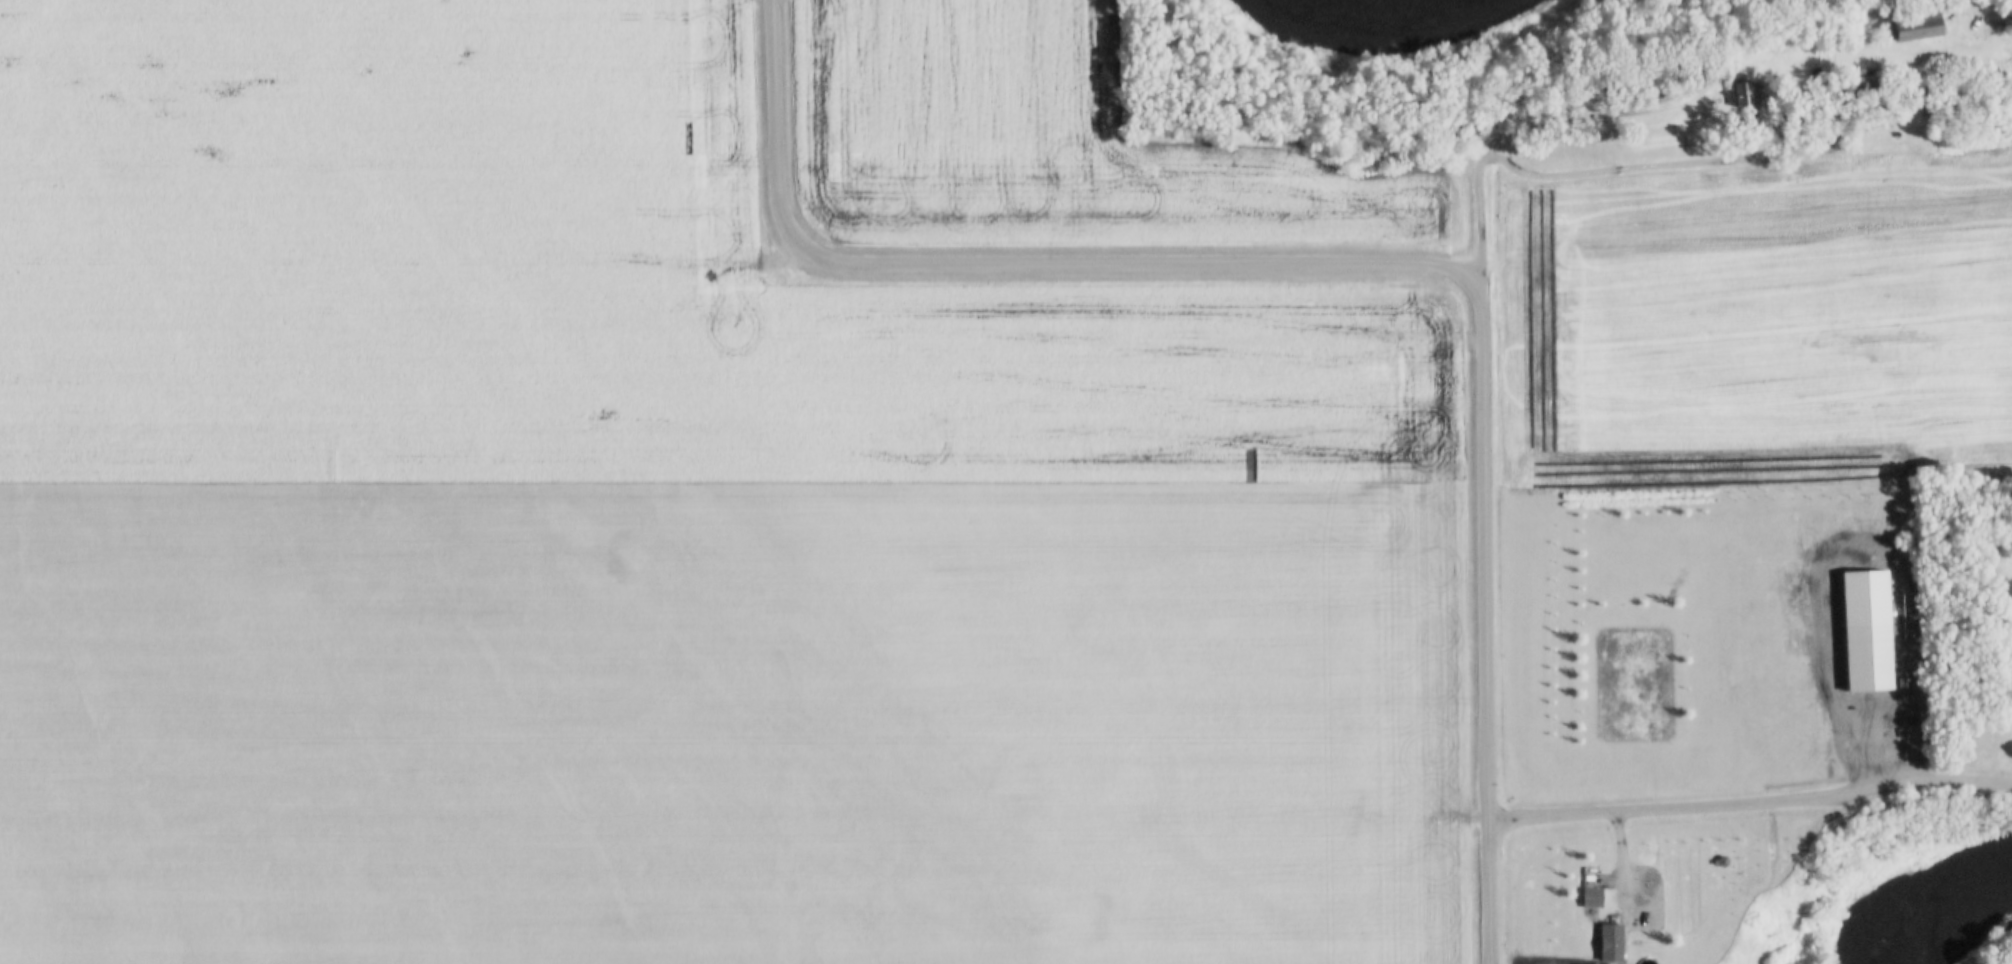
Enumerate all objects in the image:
building: (2005, 22)
building: (1914, 32)
road: (1592, 94)
road: (1346, 270)
building: (1863, 633)
road: (1749, 808)
river: (1911, 881)

